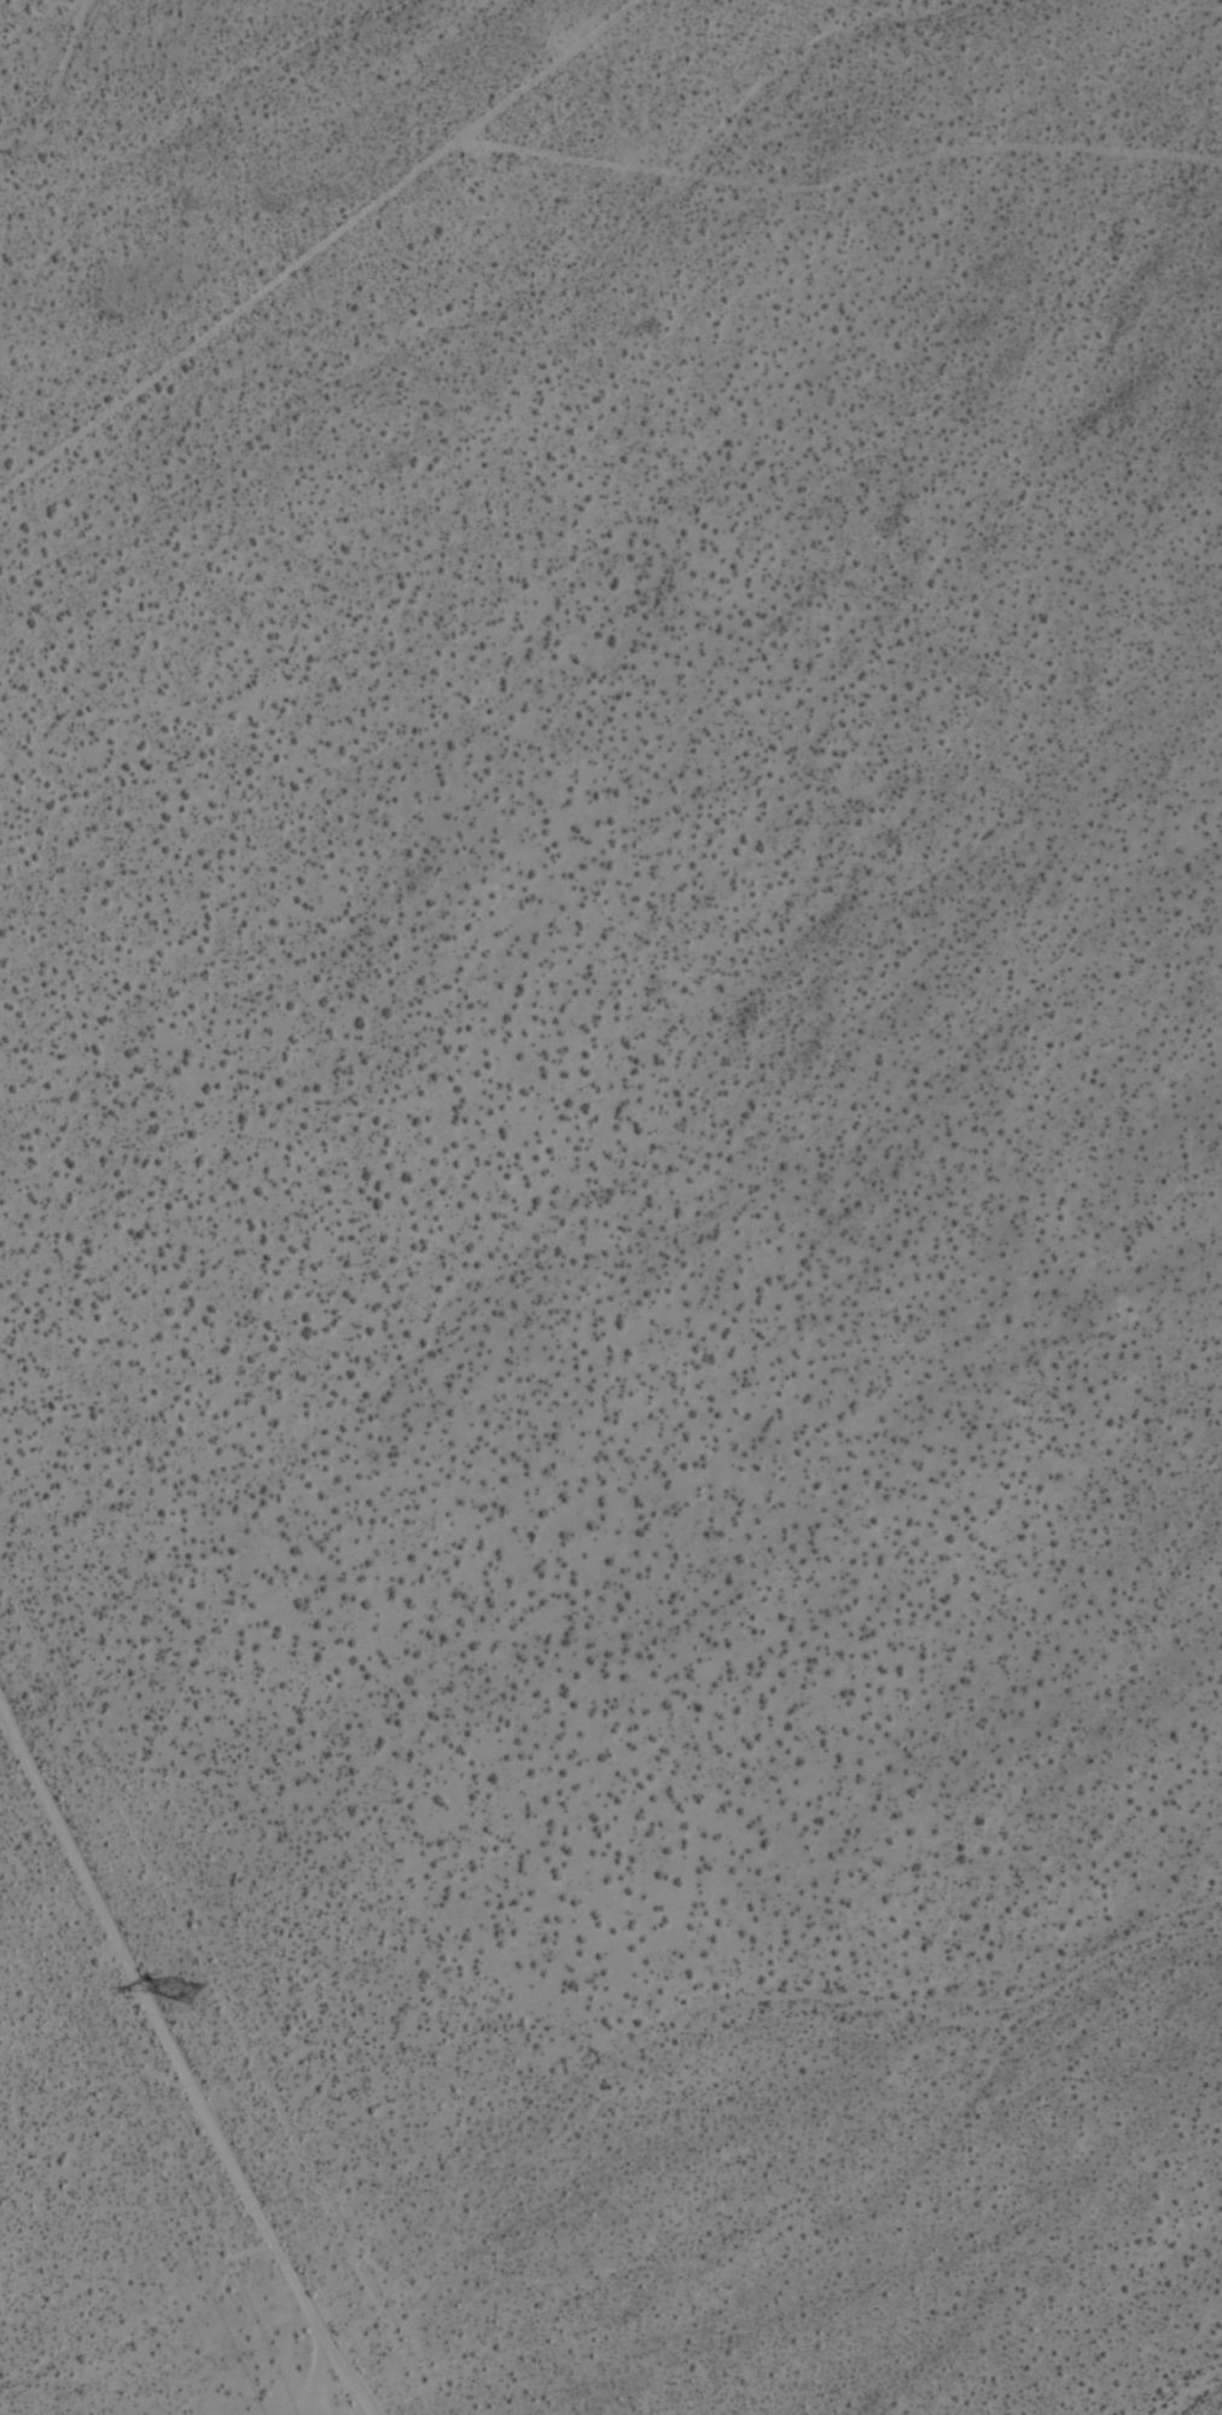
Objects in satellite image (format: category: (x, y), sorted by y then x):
road: (844, 176)
road: (319, 248)
power tower: (188, 1996)
road: (176, 2060)

